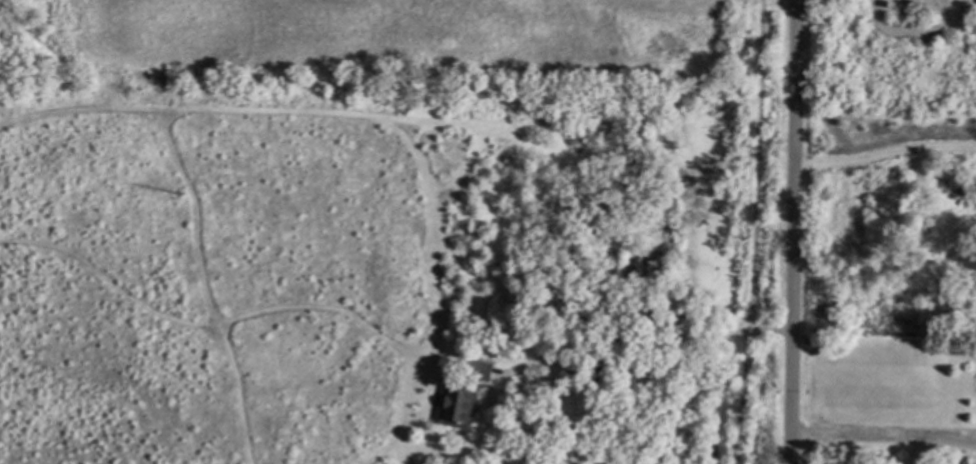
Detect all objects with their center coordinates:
crop: (367, 28)
road: (887, 153)
road: (799, 231)
building: (532, 232)
building: (667, 303)
building: (622, 310)
road: (643, 342)
building: (597, 376)
building: (459, 396)
building: (633, 414)
road: (886, 439)
building: (963, 460)

